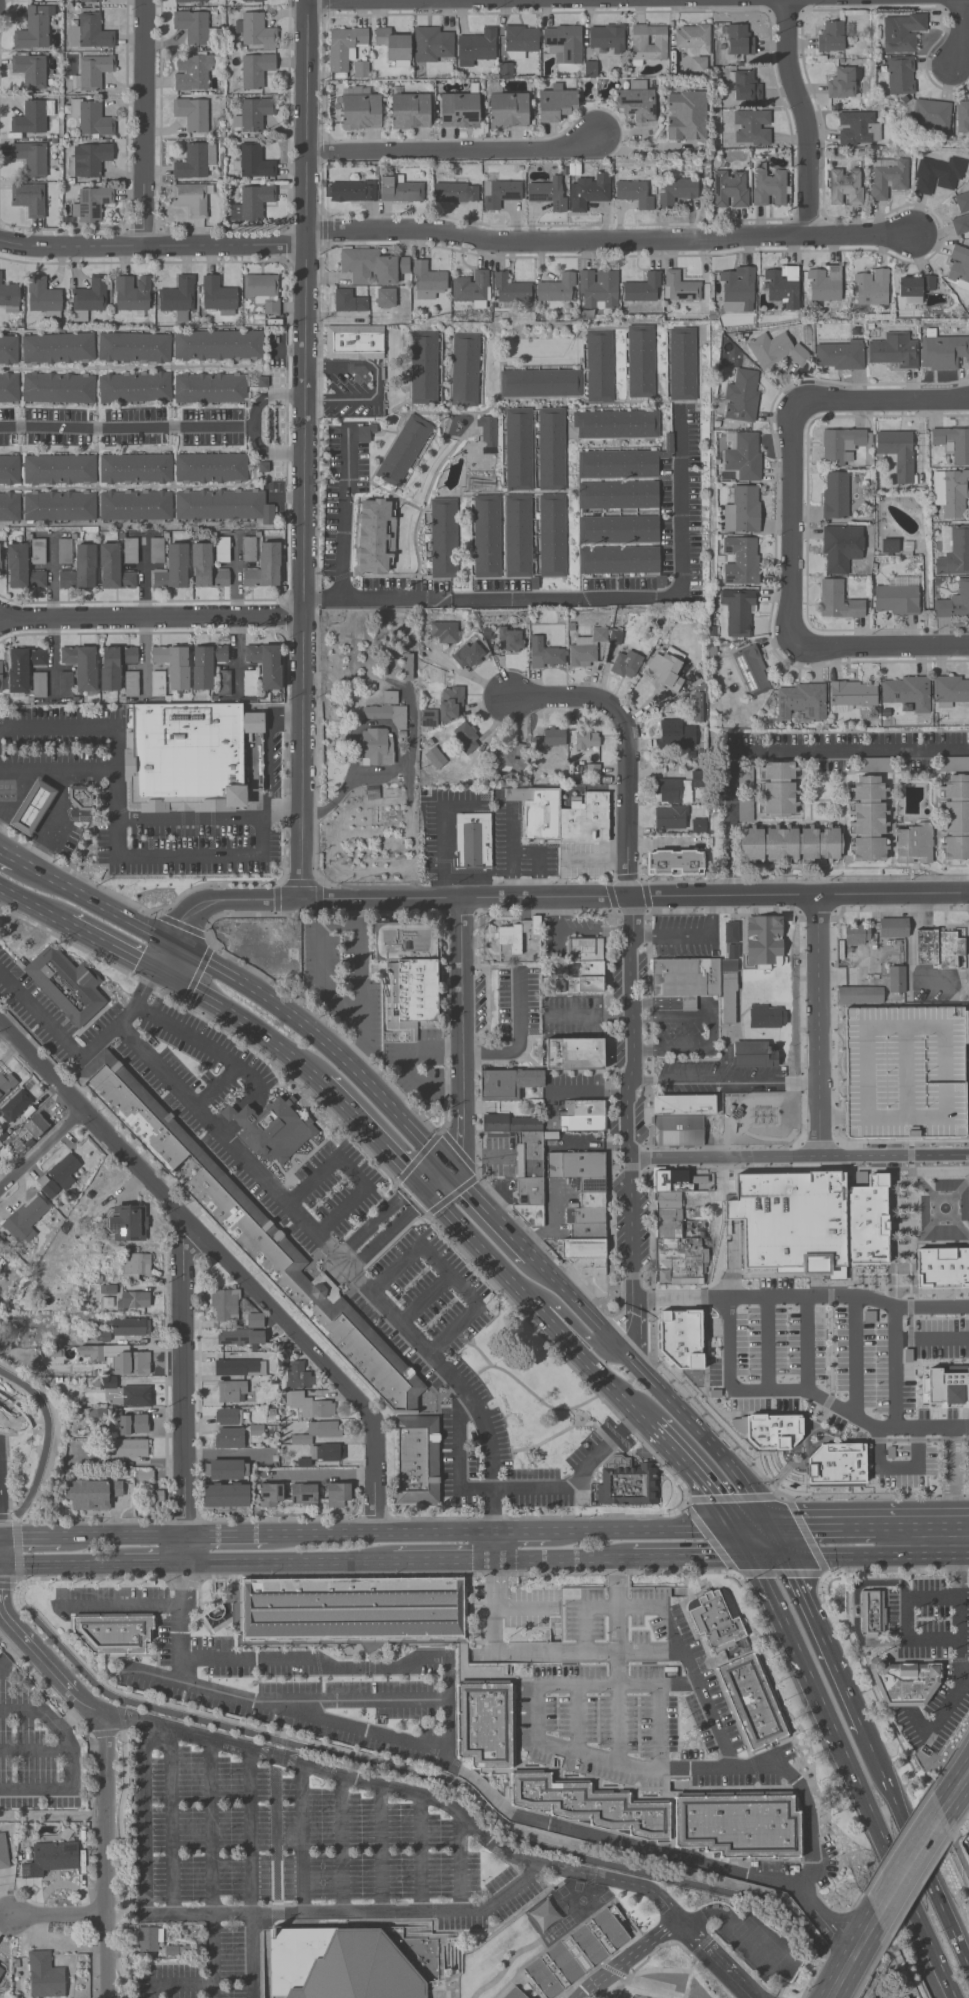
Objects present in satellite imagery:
road: (387, 0)
building: (89, 1)
building: (190, 1)
building: (252, 1)
building: (192, 27)
building: (33, 29)
building: (89, 32)
building: (256, 32)
building: (904, 33)
road: (957, 33)
building: (520, 38)
building: (607, 38)
building: (832, 38)
building: (692, 39)
building: (740, 40)
building: (563, 42)
building: (649, 42)
building: (433, 45)
building: (394, 47)
building: (476, 48)
building: (347, 51)
building: (31, 70)
building: (255, 70)
building: (505, 70)
building: (92, 73)
building: (193, 73)
building: (900, 76)
building: (844, 83)
building: (746, 88)
building: (555, 103)
building: (637, 103)
building: (360, 109)
building: (410, 111)
building: (457, 111)
building: (508, 111)
building: (191, 114)
building: (253, 115)
building: (931, 116)
building: (686, 117)
building: (962, 117)
building: (31, 118)
building: (92, 118)
road: (801, 118)
road: (144, 123)
building: (751, 128)
building: (858, 130)
road: (452, 148)
building: (31, 158)
building: (88, 159)
building: (195, 161)
building: (255, 161)
building: (937, 176)
building: (887, 178)
building: (845, 187)
building: (769, 188)
building: (730, 189)
building: (401, 190)
building: (352, 191)
building: (456, 192)
building: (589, 192)
building: (675, 192)
building: (499, 194)
building: (549, 194)
building: (635, 194)
building: (29, 200)
building: (191, 200)
building: (252, 203)
building: (92, 204)
building: (961, 214)
road: (455, 235)
building: (958, 266)
building: (372, 267)
building: (427, 278)
building: (823, 284)
building: (782, 286)
building: (870, 287)
building: (472, 288)
building: (680, 288)
building: (510, 289)
building: (557, 289)
building: (643, 289)
building: (914, 289)
building: (598, 290)
building: (736, 290)
building: (263, 291)
building: (132, 294)
building: (43, 296)
building: (178, 296)
building: (219, 296)
building: (9, 297)
building: (89, 298)
building: (385, 298)
building: (348, 301)
building: (354, 343)
building: (219, 346)
building: (134, 348)
building: (58, 349)
building: (8, 350)
building: (775, 350)
building: (895, 351)
building: (942, 352)
building: (839, 355)
building: (641, 362)
building: (681, 365)
building: (600, 366)
building: (424, 367)
building: (466, 370)
road: (377, 380)
building: (540, 384)
building: (135, 387)
building: (58, 388)
building: (210, 388)
building: (9, 389)
building: (741, 397)
road: (886, 399)
building: (616, 426)
road: (250, 427)
road: (125, 429)
building: (365, 433)
building: (488, 436)
building: (952, 443)
building: (842, 446)
road: (303, 449)
building: (519, 450)
building: (551, 450)
building: (405, 452)
building: (898, 453)
building: (744, 457)
building: (618, 465)
building: (211, 468)
building: (136, 469)
building: (59, 470)
building: (9, 471)
building: (951, 494)
building: (617, 496)
building: (835, 496)
building: (135, 506)
building: (222, 506)
building: (9, 507)
building: (59, 507)
building: (742, 511)
road: (344, 514)
road: (790, 523)
building: (618, 530)
building: (374, 537)
building: (486, 537)
building: (518, 537)
building: (552, 537)
building: (444, 539)
building: (889, 547)
building: (841, 548)
building: (249, 549)
building: (222, 550)
building: (64, 551)
building: (130, 551)
building: (157, 551)
building: (953, 551)
building: (38, 552)
building: (0, 559)
building: (619, 561)
building: (740, 561)
building: (264, 568)
building: (81, 569)
building: (113, 569)
building: (190, 569)
building: (22, 570)
road: (236, 576)
road: (53, 578)
road: (145, 578)
road: (579, 596)
building: (897, 597)
building: (838, 602)
building: (953, 603)
building: (738, 612)
road: (152, 618)
building: (443, 633)
building: (511, 639)
road: (885, 643)
building: (586, 649)
building: (469, 655)
building: (545, 655)
building: (116, 665)
building: (173, 665)
building: (206, 665)
building: (266, 665)
building: (627, 665)
building: (81, 667)
building: (23, 668)
building: (667, 669)
building: (751, 671)
road: (469, 676)
building: (0, 677)
building: (223, 683)
building: (131, 684)
building: (249, 684)
building: (39, 685)
building: (65, 685)
building: (158, 685)
building: (951, 690)
building: (906, 693)
building: (853, 695)
building: (799, 702)
building: (444, 708)
building: (698, 709)
building: (387, 712)
building: (670, 733)
building: (465, 738)
building: (552, 738)
building: (586, 741)
building: (376, 747)
road: (115, 748)
road: (804, 750)
building: (195, 756)
building: (437, 758)
building: (506, 760)
road: (273, 762)
building: (953, 764)
road: (594, 789)
building: (678, 789)
building: (779, 790)
road: (6, 796)
building: (32, 808)
road: (195, 815)
road: (287, 815)
building: (562, 816)
building: (670, 818)
building: (955, 818)
building: (868, 819)
road: (55, 821)
road: (512, 829)
building: (781, 835)
building: (473, 841)
building: (914, 844)
road: (525, 850)
road: (441, 851)
road: (13, 855)
road: (171, 857)
road: (593, 860)
building: (675, 863)
road: (727, 869)
road: (635, 896)
road: (227, 900)
road: (99, 902)
road: (33, 909)
road: (925, 911)
building: (893, 929)
building: (517, 934)
building: (856, 935)
road: (689, 936)
building: (769, 940)
traffic signals: (173, 941)
building: (730, 950)
road: (112, 953)
building: (939, 953)
road: (165, 959)
road: (318, 960)
building: (586, 966)
building: (408, 974)
traffic signals: (158, 977)
road: (630, 977)
building: (684, 979)
building: (896, 984)
building: (66, 985)
road: (360, 987)
road: (146, 990)
building: (869, 996)
building: (728, 998)
road: (656, 1005)
road: (691, 1005)
road: (708, 1010)
road: (127, 1012)
building: (767, 1016)
road: (241, 1022)
road: (820, 1024)
road: (3, 1031)
road: (60, 1031)
building: (876, 1034)
road: (321, 1036)
road: (713, 1036)
road: (521, 1042)
road: (212, 1046)
road: (461, 1051)
building: (574, 1054)
building: (755, 1055)
road: (404, 1063)
building: (948, 1065)
building: (877, 1066)
road: (724, 1080)
building: (6, 1083)
building: (508, 1084)
building: (879, 1096)
building: (15, 1107)
building: (583, 1117)
building: (680, 1119)
building: (32, 1129)
building: (277, 1133)
road: (370, 1136)
road: (234, 1140)
building: (769, 1145)
road: (41, 1149)
building: (0, 1154)
road: (798, 1155)
traffic signals: (447, 1162)
building: (524, 1163)
road: (353, 1169)
building: (60, 1176)
traffic signals: (424, 1192)
road: (490, 1208)
building: (583, 1210)
building: (25, 1219)
building: (127, 1225)
building: (673, 1232)
road: (227, 1261)
building: (135, 1267)
road: (453, 1271)
building: (284, 1274)
road: (568, 1293)
road: (429, 1298)
road: (802, 1299)
building: (132, 1301)
building: (224, 1306)
road: (539, 1307)
road: (621, 1317)
building: (129, 1327)
road: (577, 1330)
building: (244, 1333)
road: (931, 1339)
road: (421, 1342)
road: (767, 1346)
road: (806, 1346)
building: (90, 1354)
road: (855, 1357)
building: (127, 1363)
building: (236, 1367)
building: (295, 1372)
road: (184, 1376)
road: (894, 1376)
building: (946, 1386)
building: (231, 1392)
building: (125, 1395)
park: (534, 1395)
road: (823, 1401)
building: (310, 1406)
building: (228, 1417)
road: (53, 1420)
building: (134, 1424)
road: (692, 1425)
road: (886, 1427)
road: (943, 1427)
road: (46, 1438)
building: (231, 1438)
building: (301, 1441)
building: (126, 1448)
road: (460, 1455)
building: (225, 1470)
road: (695, 1475)
road: (580, 1480)
building: (626, 1482)
building: (92, 1495)
building: (270, 1496)
building: (303, 1496)
building: (338, 1496)
building: (226, 1497)
building: (154, 1503)
road: (955, 1511)
road: (960, 1525)
road: (914, 1526)
road: (822, 1528)
traffic signals: (735, 1529)
road: (751, 1529)
traffic signals: (767, 1530)
road: (642, 1531)
road: (522, 1533)
road: (380, 1534)
road: (226, 1537)
road: (29, 1538)
road: (122, 1538)
road: (742, 1542)
road: (773, 1542)
road: (494, 1547)
road: (18, 1548)
road: (874, 1554)
road: (690, 1555)
traffic signals: (749, 1555)
road: (764, 1555)
traffic signals: (780, 1555)
road: (563, 1559)
road: (443, 1562)
road: (288, 1565)
road: (61, 1567)
road: (153, 1567)
road: (793, 1581)
road: (619, 1582)
road: (932, 1595)
road: (856, 1605)
road: (523, 1607)
road: (662, 1609)
road: (584, 1610)
building: (352, 1611)
building: (871, 1613)
road: (3, 1616)
building: (715, 1617)
road: (905, 1618)
road: (959, 1618)
building: (613, 1624)
parking lot: (613, 1624)
road: (620, 1628)
building: (114, 1633)
road: (820, 1635)
road: (932, 1641)
road: (12, 1650)
road: (511, 1651)
road: (795, 1651)
parking lot: (933, 1655)
road: (959, 1657)
road: (49, 1662)
road: (835, 1667)
road: (367, 1668)
road: (967, 1673)
road: (697, 1680)
building: (904, 1682)
road: (569, 1688)
road: (370, 1699)
road: (850, 1701)
building: (750, 1702)
road: (34, 1711)
road: (939, 1718)
building: (485, 1725)
road: (618, 1727)
road: (273, 1756)
road: (464, 1768)
road: (424, 1769)
road: (72, 1772)
road: (424, 1776)
road: (788, 1776)
road: (883, 1776)
road: (956, 1793)
road: (863, 1799)
building: (589, 1806)
road: (171, 1823)
building: (736, 1825)
road: (211, 1828)
road: (249, 1832)
road: (302, 1838)
road: (342, 1843)
road: (956, 1846)
road: (381, 1847)
road: (917, 1849)
road: (421, 1852)
building: (3, 1853)
road: (105, 1853)
building: (50, 1859)
road: (461, 1862)
road: (908, 1864)
road: (563, 1867)
road: (145, 1872)
road: (899, 1877)
road: (495, 1900)
road: (943, 1906)
road: (283, 1909)
road: (429, 1910)
road: (59, 1912)
road: (335, 1912)
road: (864, 1935)
road: (810, 1937)
building: (149, 1939)
road: (963, 1949)
road: (933, 1951)
building: (577, 1954)
road: (212, 1956)
road: (250, 1956)
road: (632, 1959)
road: (720, 1963)
building: (2, 1969)
building: (361, 1970)
road: (842, 1975)
building: (45, 1976)
road: (176, 1983)
road: (869, 1985)
building: (515, 1993)
building: (639, 1993)
building: (907, 1997)

